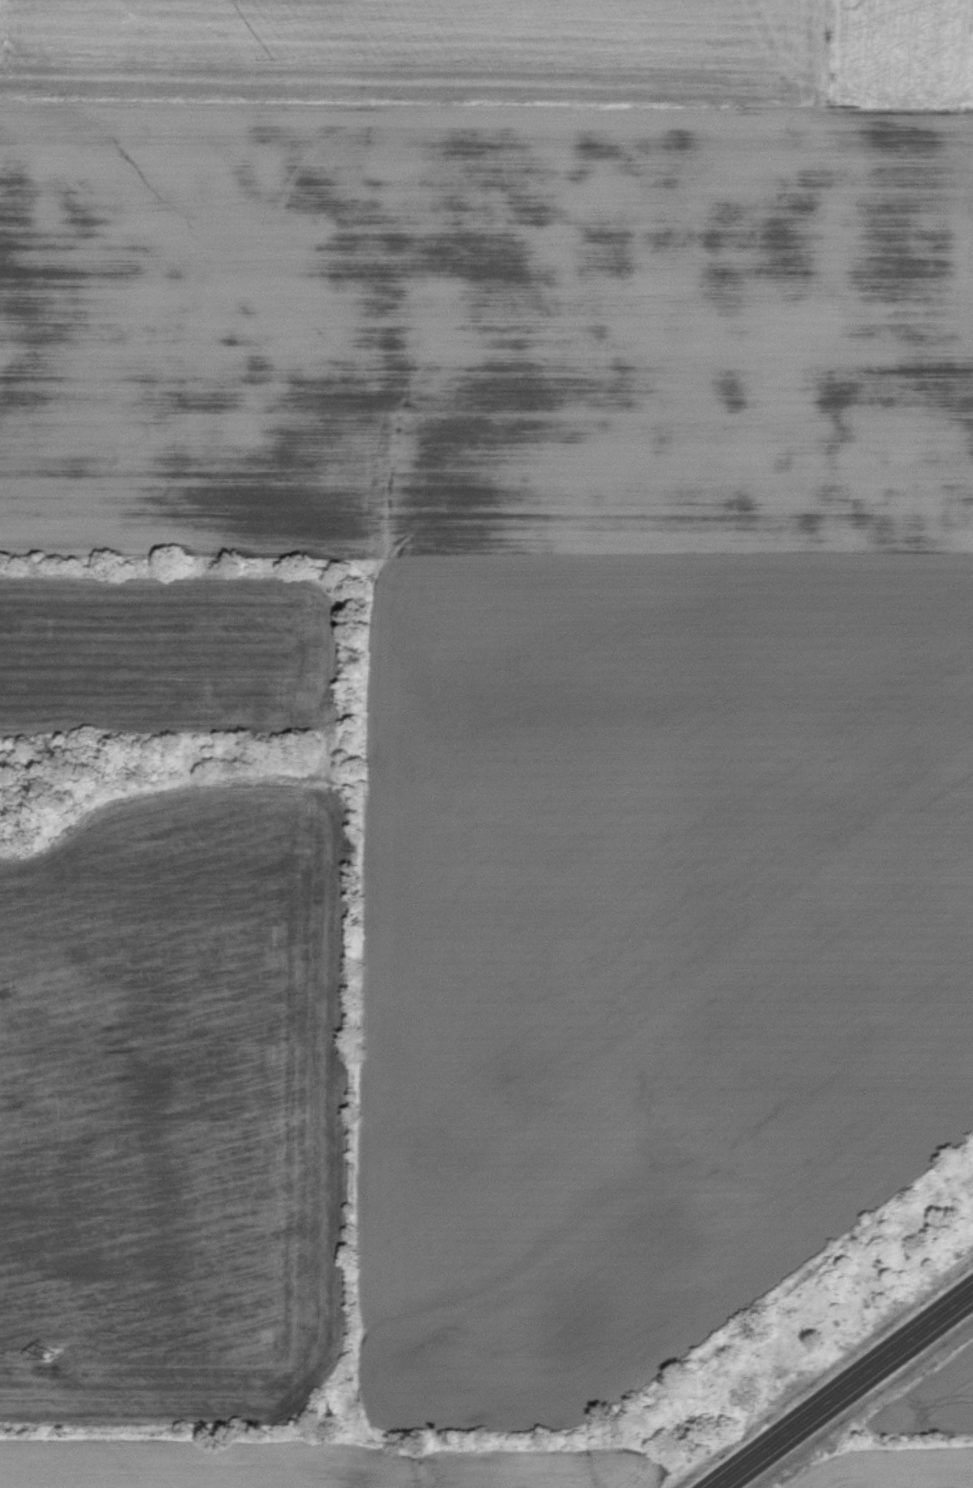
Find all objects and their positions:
power tower: (50, 1355)
road: (846, 1391)

